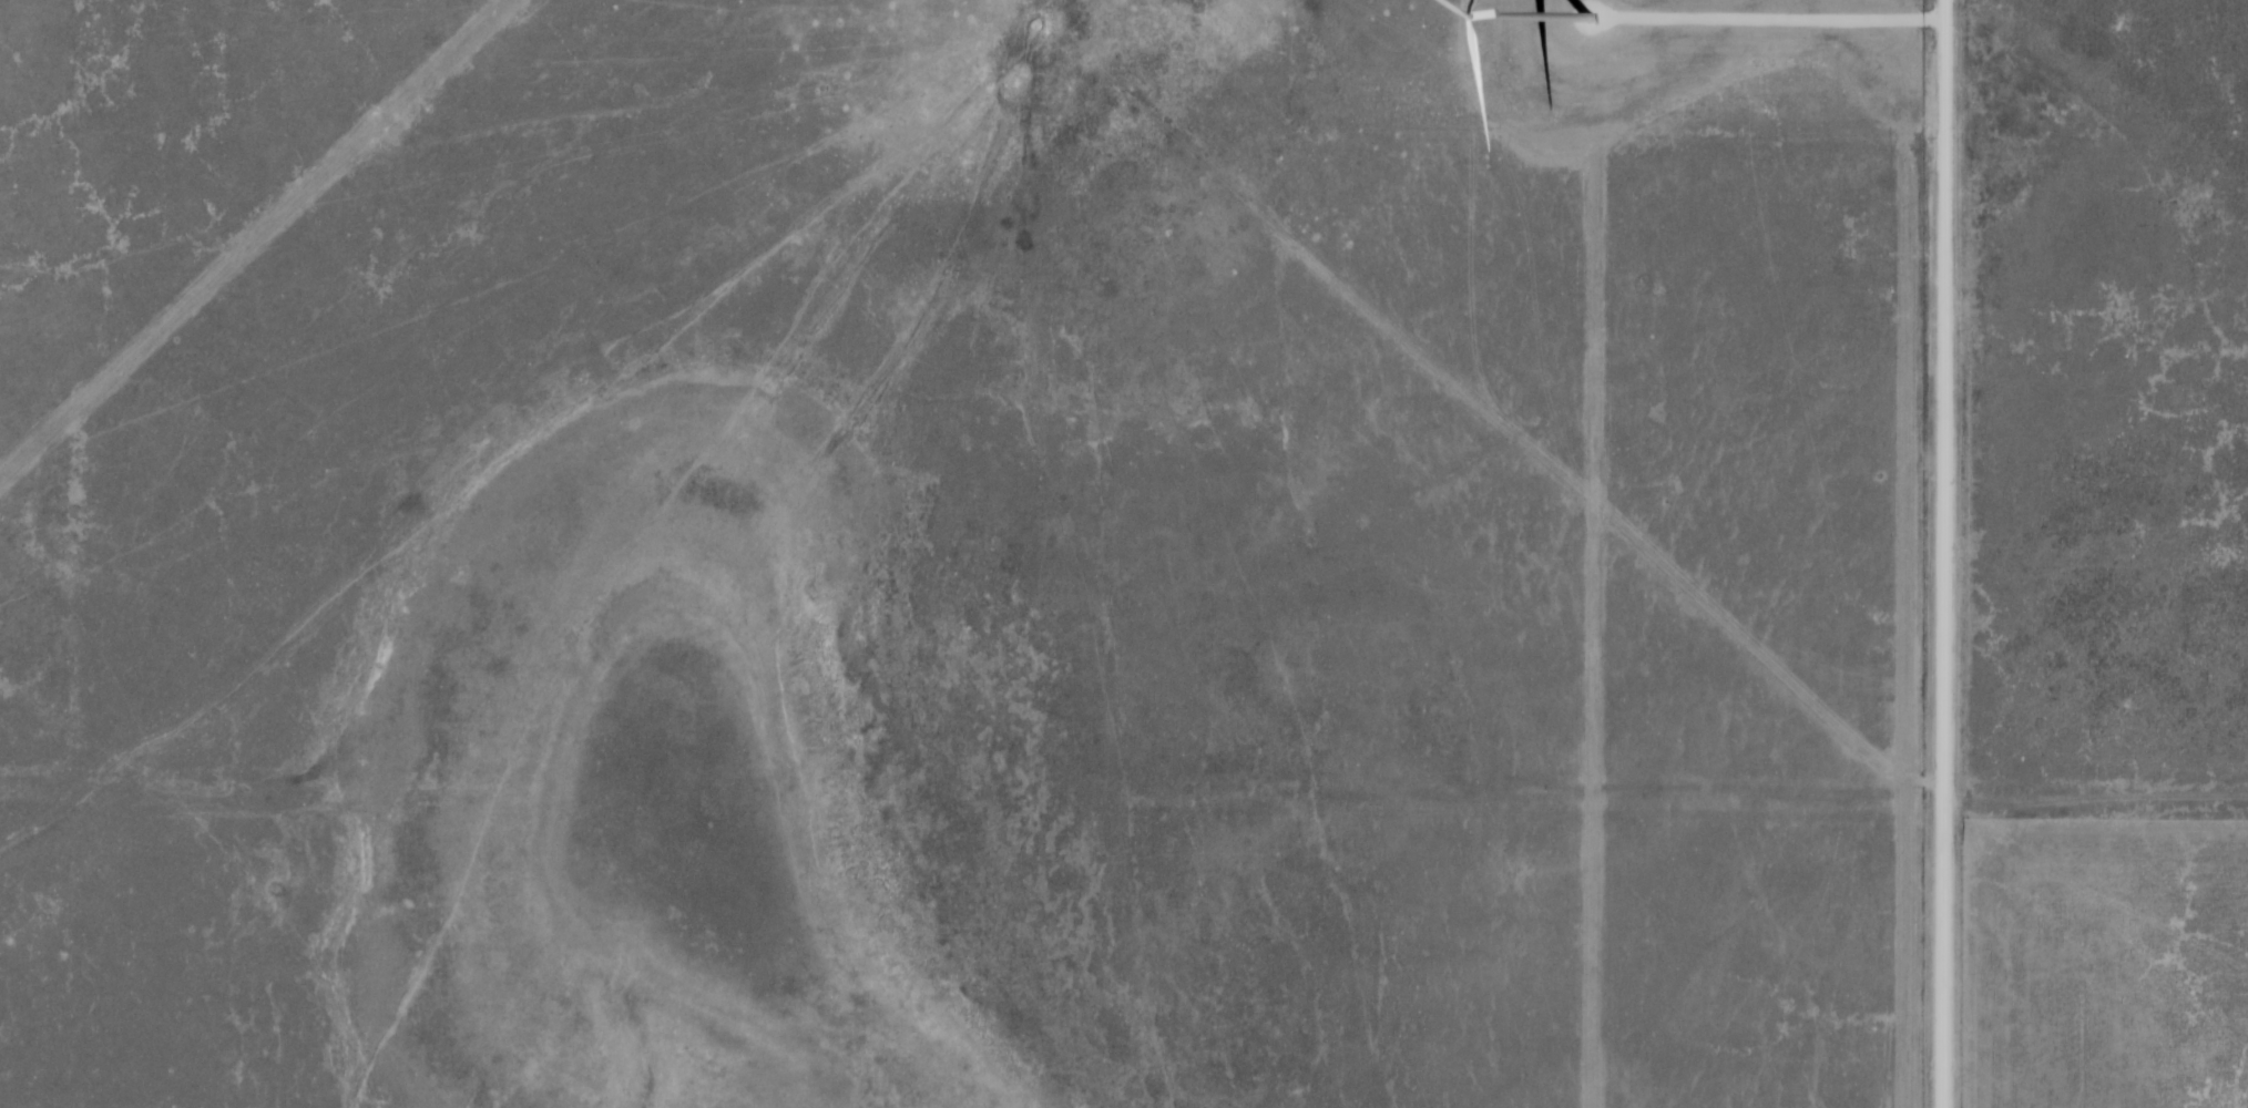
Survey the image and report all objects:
wind turbine: (1588, 16)
road: (1778, 21)
road: (1944, 554)

